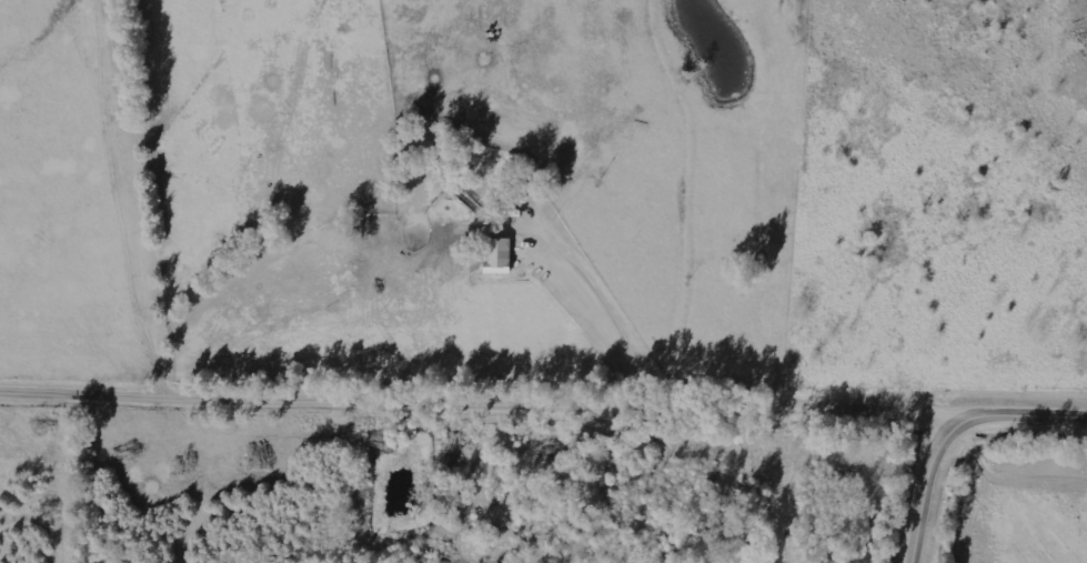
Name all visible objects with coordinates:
road: (168, 201)
road: (482, 406)
road: (954, 434)

